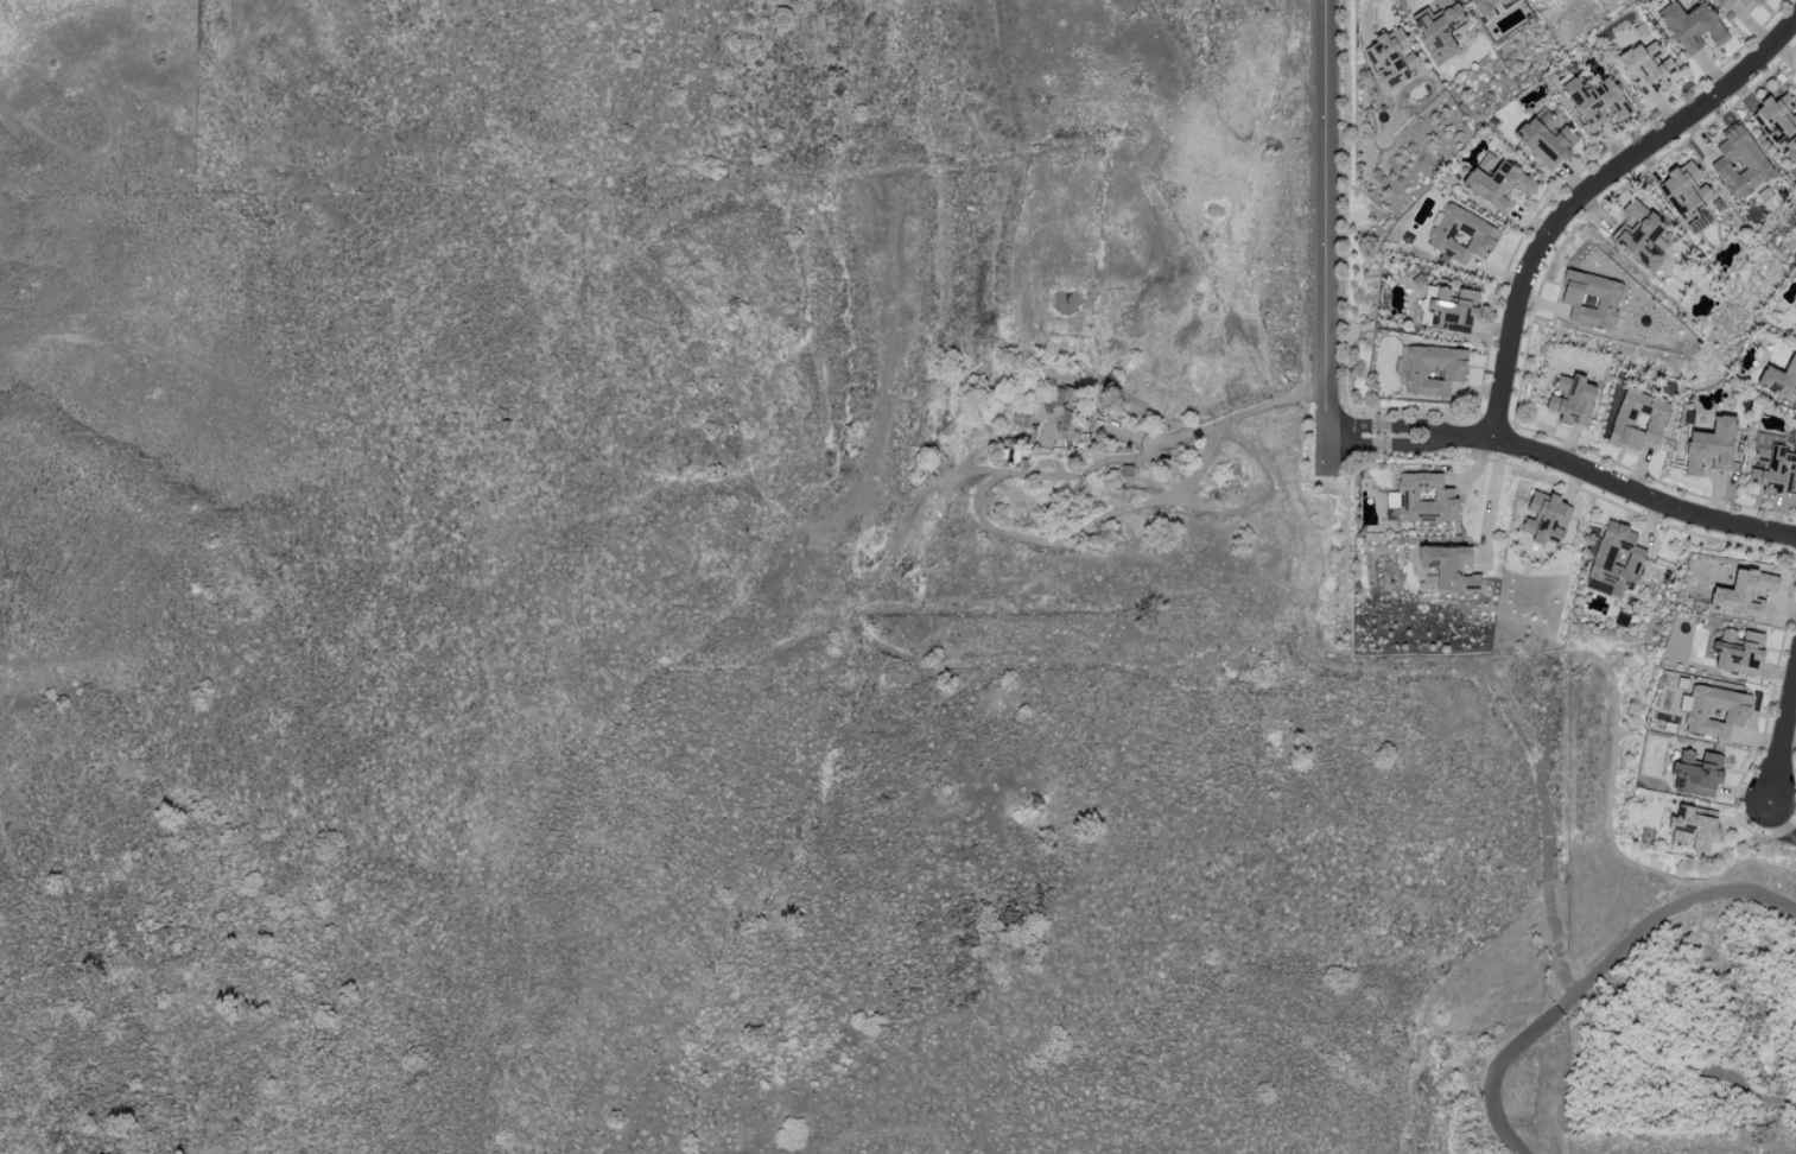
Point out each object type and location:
building: (1756, 1)
building: (1731, 2)
building: (1483, 5)
road: (1367, 17)
building: (1690, 26)
building: (1440, 27)
building: (1392, 58)
building: (1646, 68)
building: (1595, 100)
building: (1776, 120)
building: (1546, 139)
building: (1739, 163)
building: (1497, 184)
road: (1587, 189)
building: (1686, 191)
road: (1328, 233)
building: (1460, 235)
building: (1638, 235)
building: (1589, 298)
building: (1452, 307)
building: (1433, 369)
building: (1779, 380)
building: (1570, 400)
building: (1048, 419)
building: (1637, 419)
road: (1213, 423)
road: (1353, 425)
road: (1419, 425)
road: (1356, 444)
road: (1421, 444)
building: (1709, 446)
building: (1771, 467)
road: (1625, 487)
building: (1421, 499)
road: (1493, 500)
building: (1616, 557)
building: (1448, 568)
building: (1743, 592)
building: (1739, 654)
building: (1713, 710)
road: (1782, 737)
building: (1696, 772)
road: (1779, 823)
building: (1692, 828)
road: (1595, 976)

